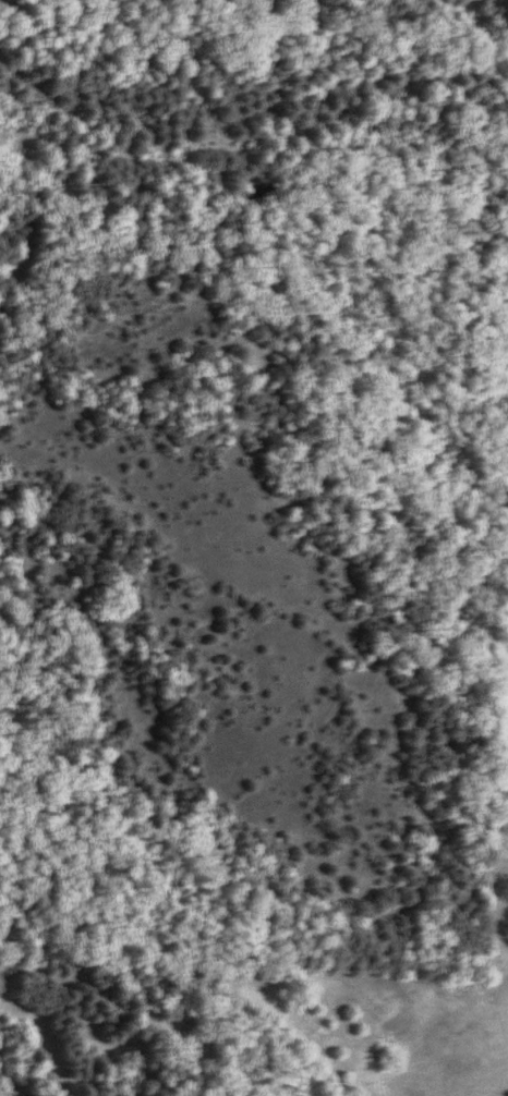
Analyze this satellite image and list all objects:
road: (47, 1037)

